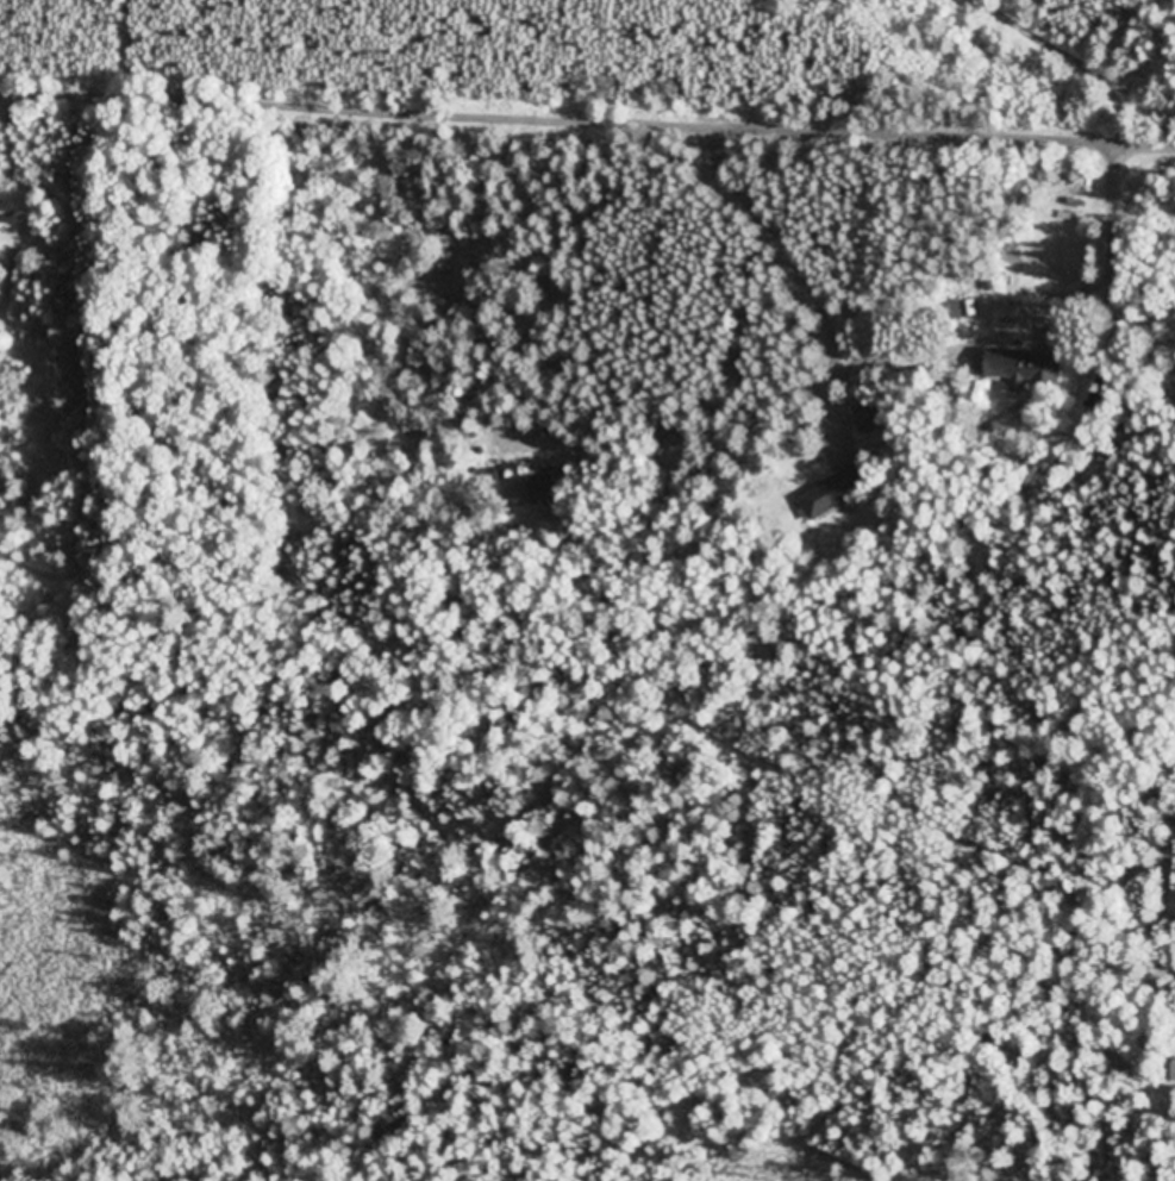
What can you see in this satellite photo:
road: (587, 118)
building: (1029, 369)
building: (870, 418)
building: (530, 488)
building: (838, 494)

